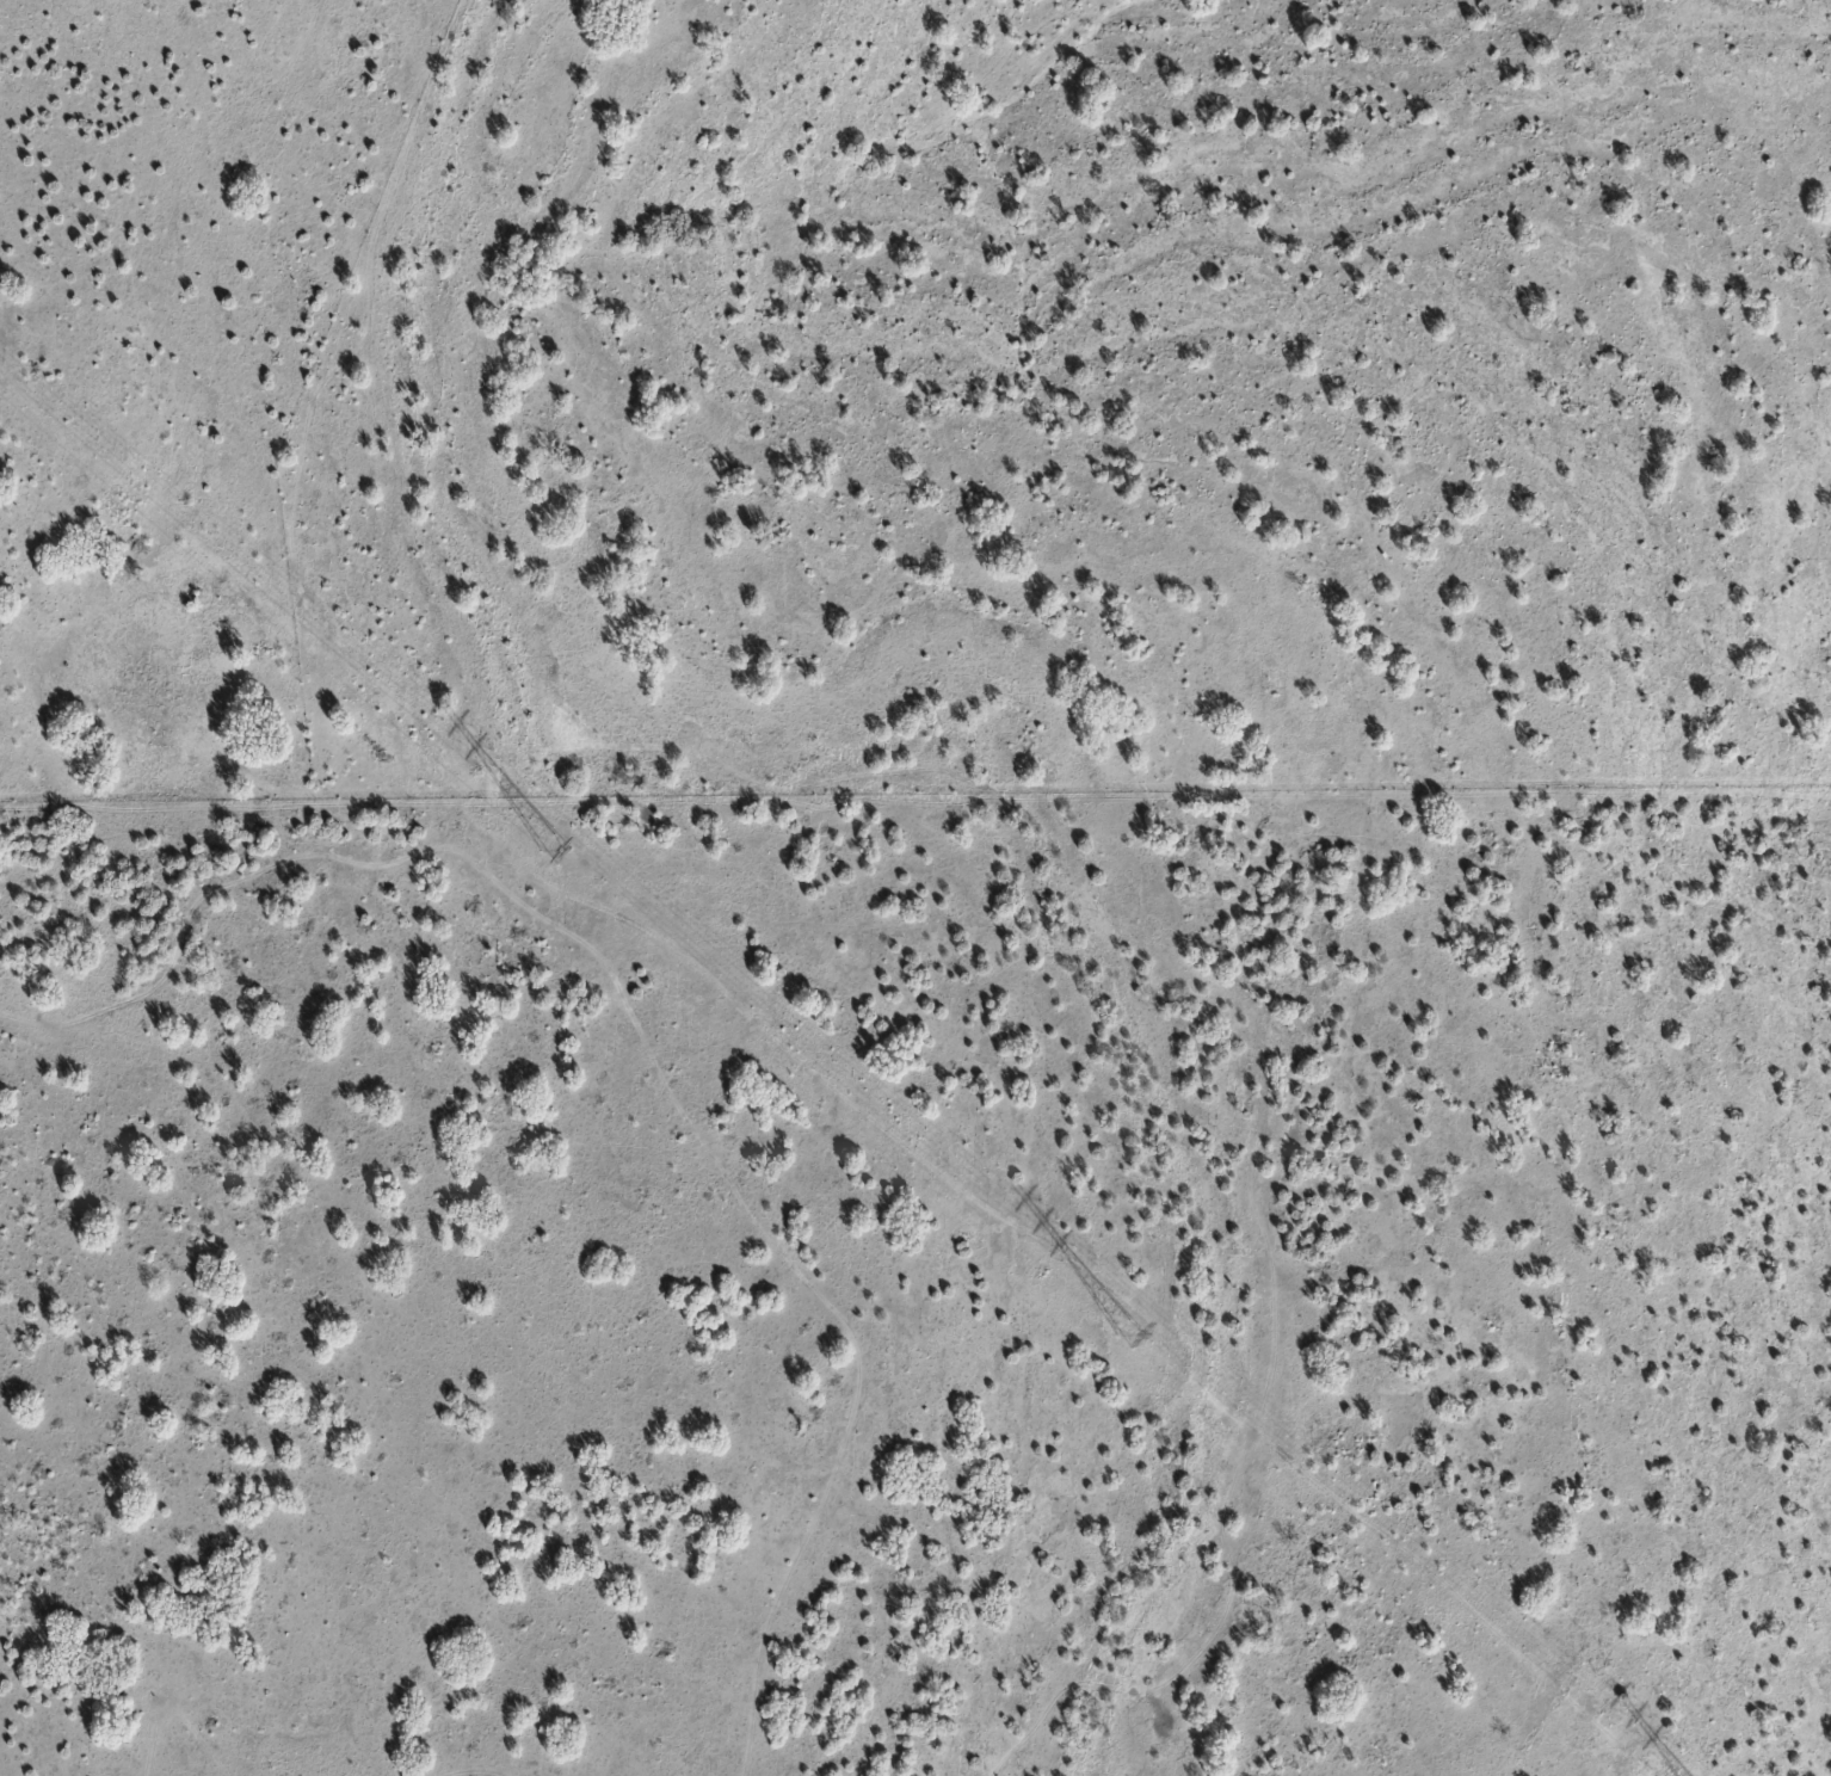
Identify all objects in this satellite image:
power tower: (553, 851)
power tower: (1127, 1333)

